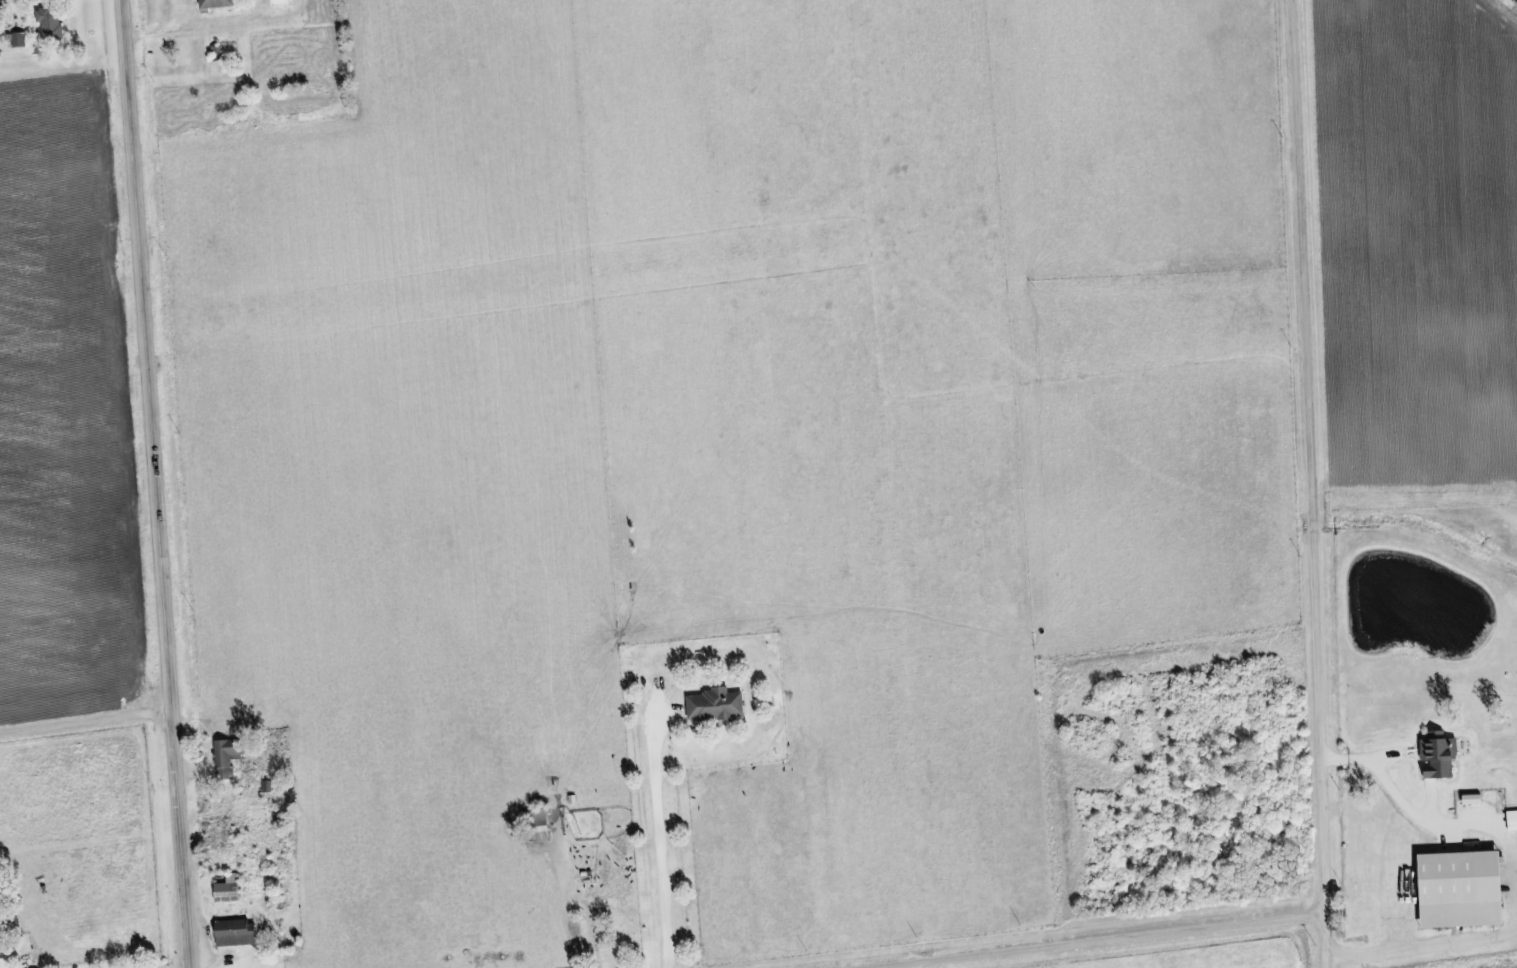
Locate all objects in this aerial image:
building: (280, 3)
building: (219, 4)
building: (52, 25)
building: (21, 41)
road: (1302, 453)
road: (155, 484)
building: (715, 707)
building: (1440, 757)
building: (229, 759)
building: (1474, 800)
building: (1513, 822)
building: (540, 828)
building: (1463, 891)
building: (228, 893)
building: (237, 935)
road: (1081, 937)
road: (1318, 937)
building: (0, 942)

